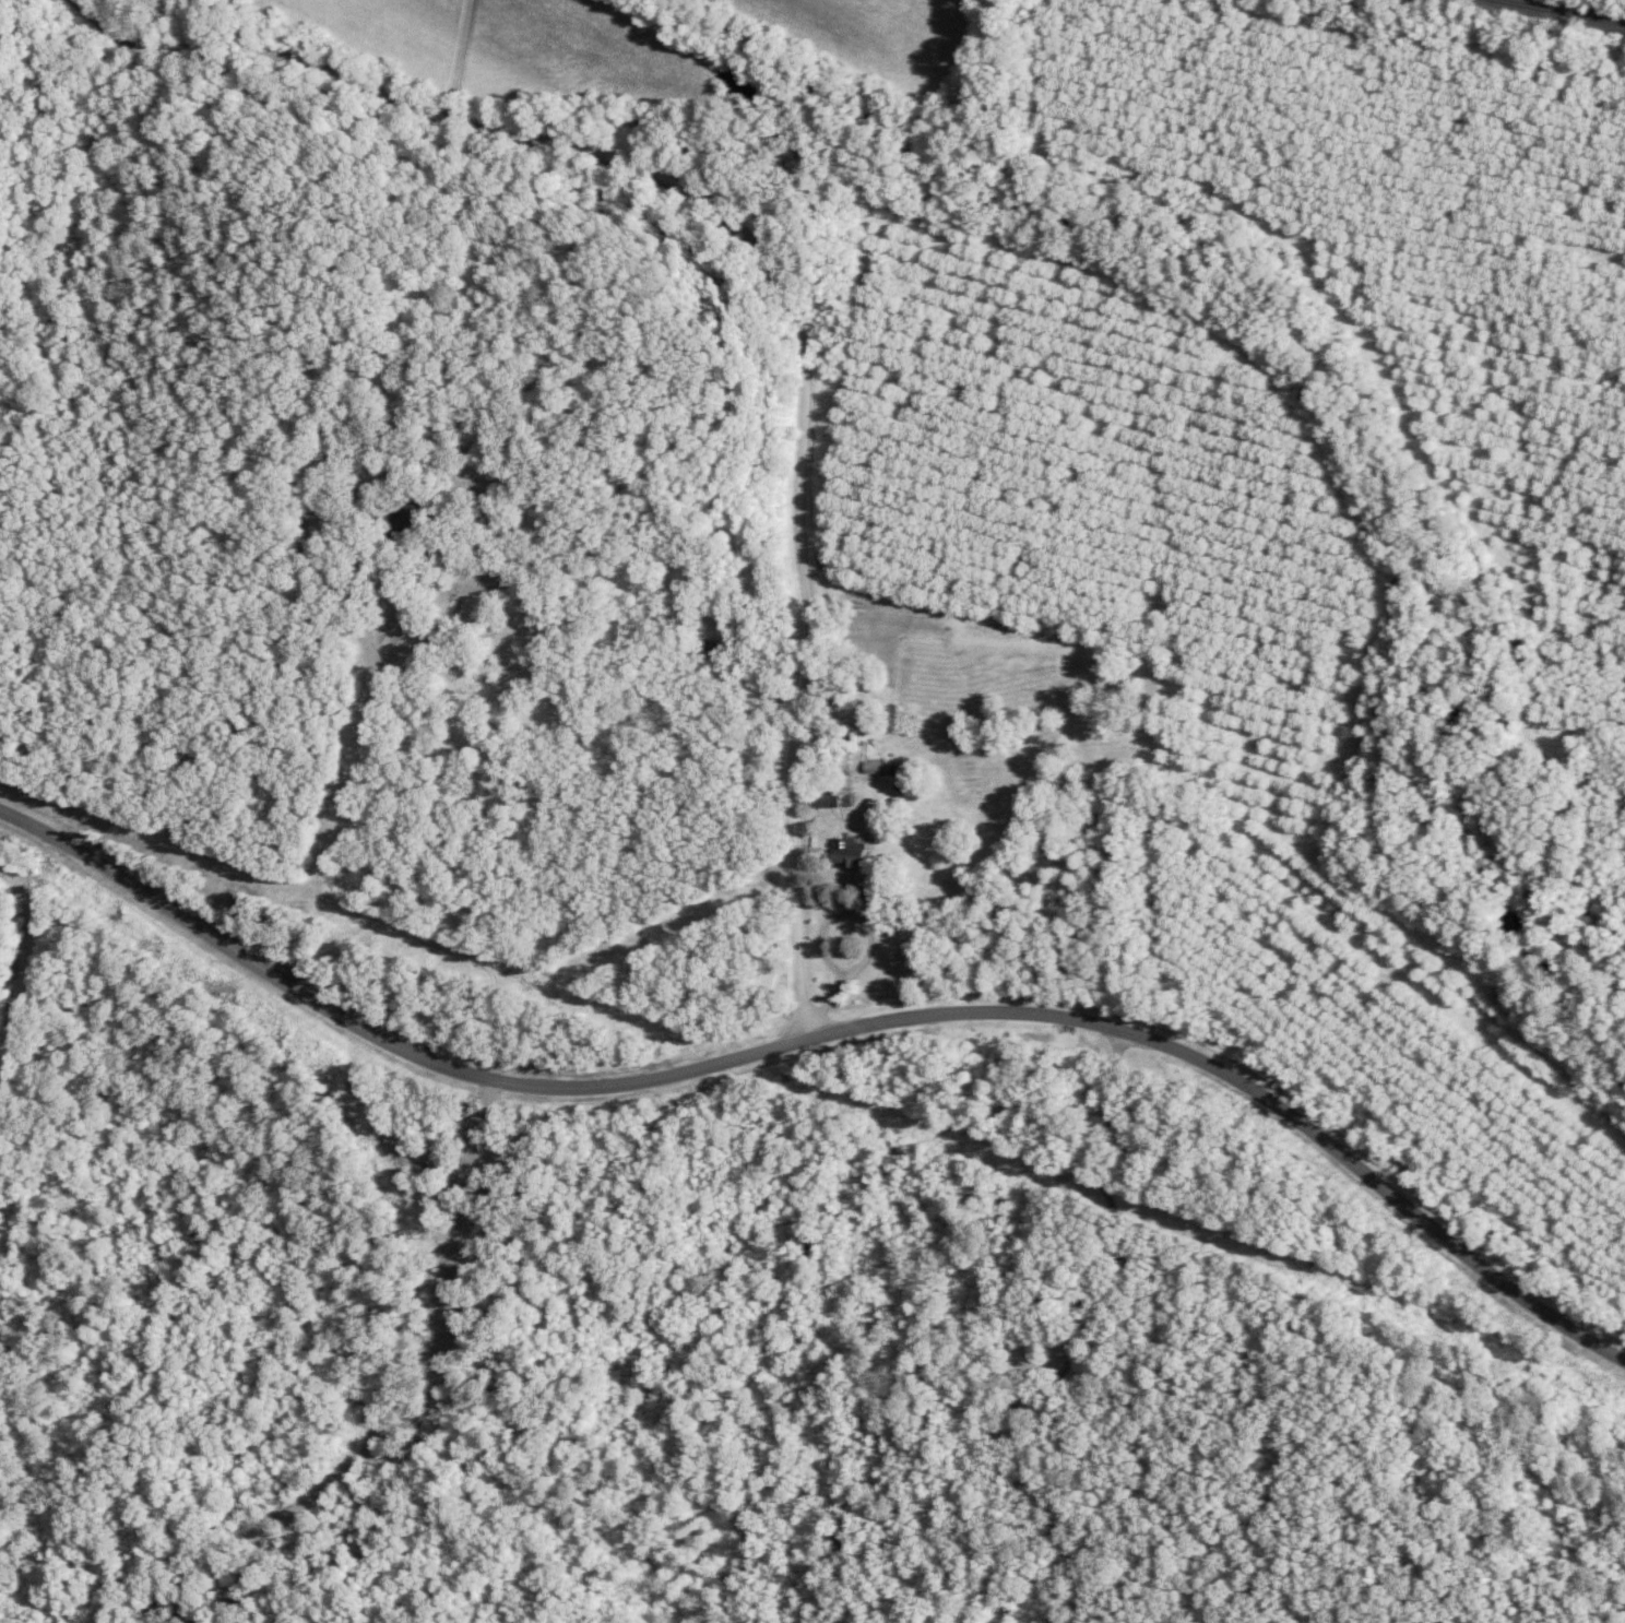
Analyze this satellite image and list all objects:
railway: (1600, 4)
road: (774, 276)
road: (228, 670)
building: (820, 794)
building: (849, 848)
road: (823, 1034)
road: (1079, 1334)
road: (416, 1411)

